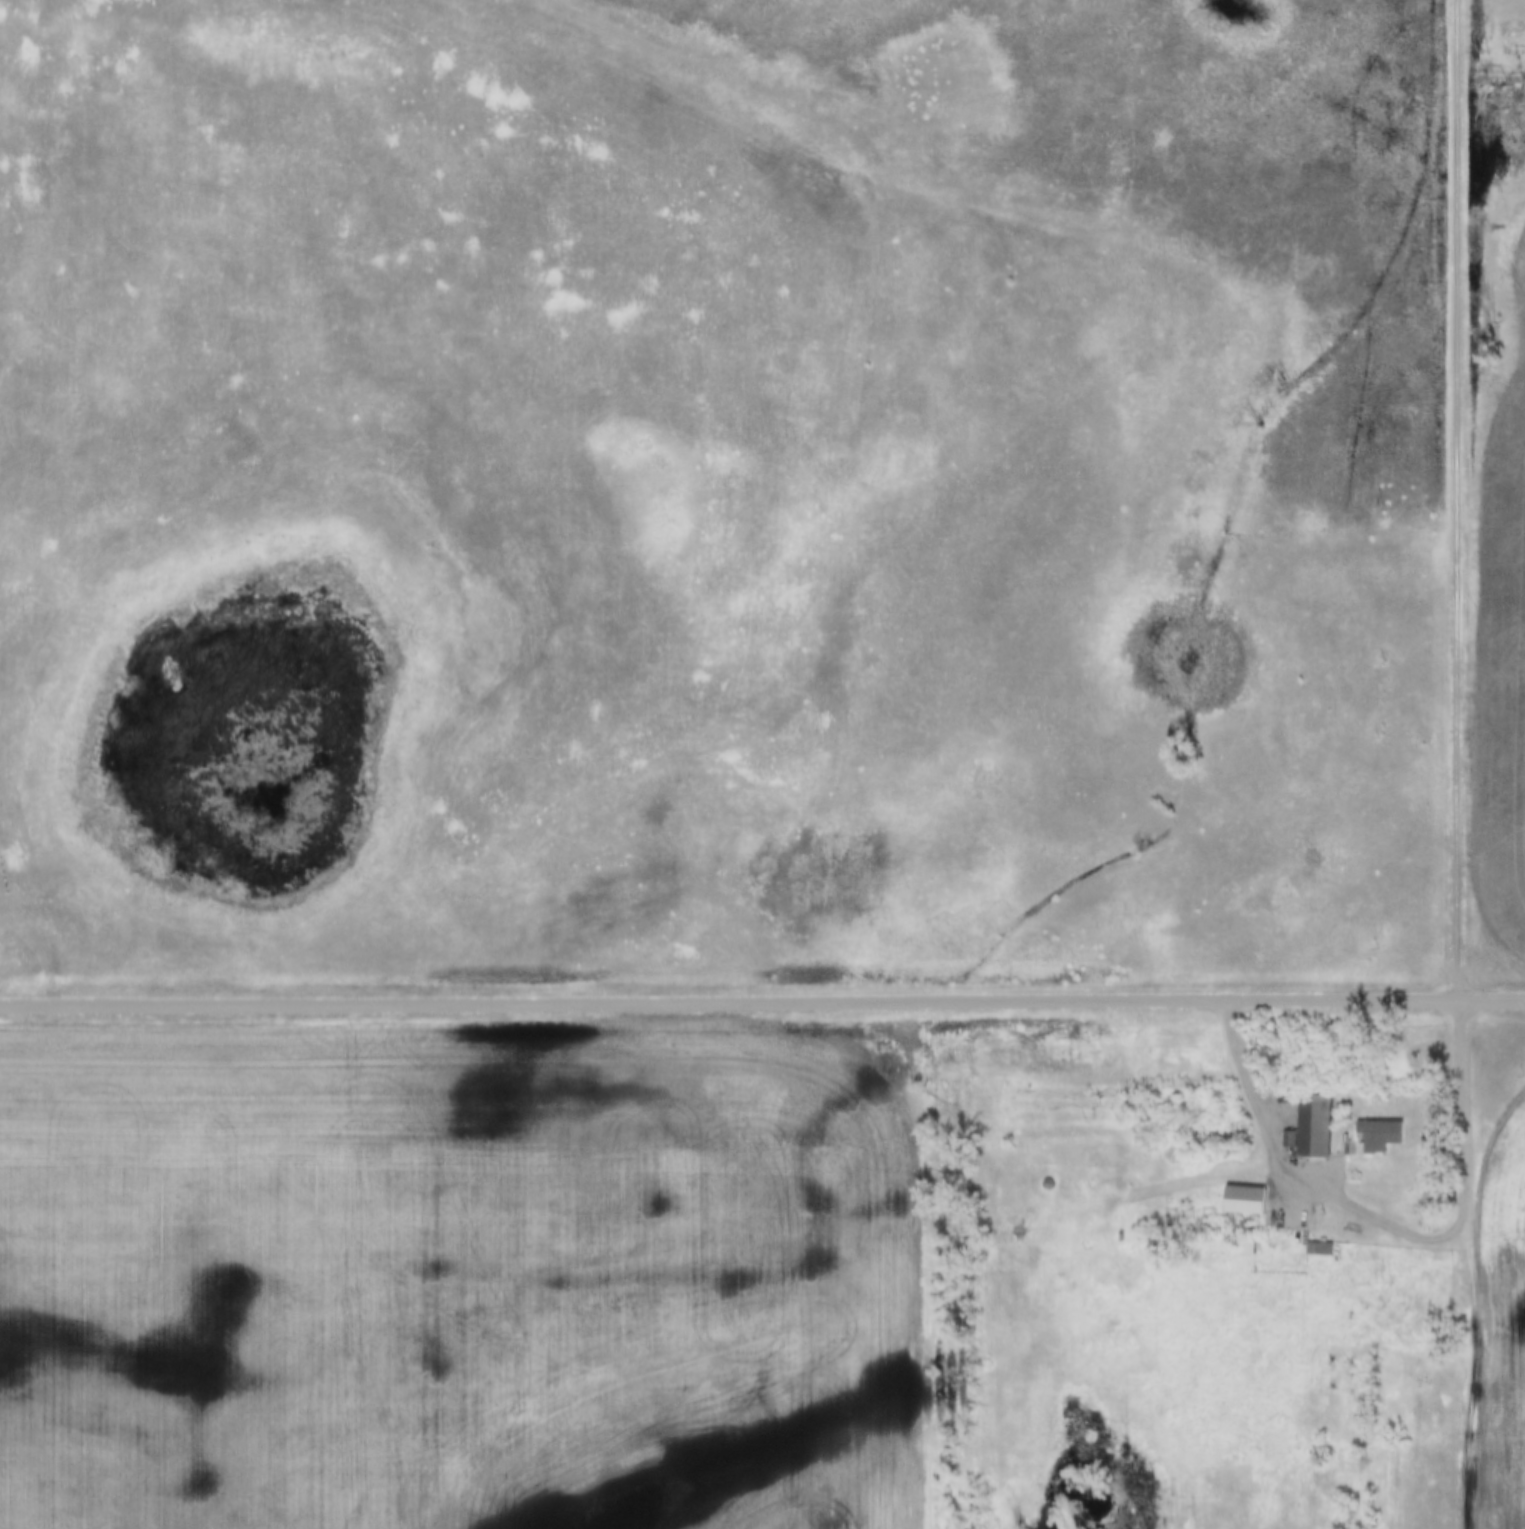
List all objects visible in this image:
road: (1459, 499)
road: (762, 1001)
road: (1461, 1108)
building: (1316, 1125)
building: (1384, 1135)
road: (1283, 1188)
building: (1247, 1200)
building: (1246, 1248)
road: (1468, 1374)

